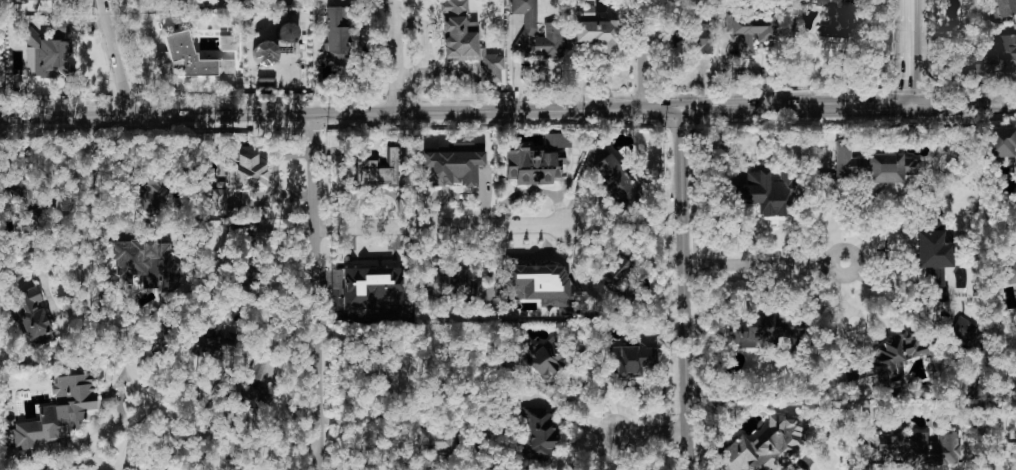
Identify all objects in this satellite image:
building: (27, 1)
building: (198, 1)
building: (1003, 8)
building: (836, 19)
building: (750, 29)
building: (553, 30)
building: (598, 34)
building: (336, 35)
building: (703, 37)
building: (467, 41)
building: (228, 44)
road: (162, 52)
road: (908, 53)
building: (265, 54)
road: (642, 55)
building: (45, 56)
building: (184, 56)
road: (394, 56)
building: (997, 57)
road: (117, 58)
road: (745, 70)
road: (962, 105)
road: (837, 107)
road: (721, 109)
road: (339, 113)
building: (1000, 142)
building: (455, 164)
building: (532, 164)
building: (874, 165)
building: (378, 170)
building: (615, 180)
building: (150, 190)
building: (768, 193)
building: (30, 221)
road: (439, 226)
road: (875, 239)
building: (934, 261)
building: (144, 263)
road: (765, 263)
building: (616, 269)
building: (1011, 272)
building: (539, 285)
building: (451, 286)
building: (371, 287)
road: (683, 289)
road: (317, 291)
building: (33, 319)
building: (962, 330)
building: (765, 331)
road: (854, 340)
road: (121, 344)
building: (212, 347)
building: (546, 357)
building: (631, 358)
building: (890, 360)
building: (262, 369)
building: (397, 373)
road: (600, 392)
building: (250, 394)
building: (60, 412)
road: (130, 422)
building: (537, 433)
road: (650, 435)
building: (436, 441)
building: (765, 447)
building: (921, 448)
building: (47, 469)

